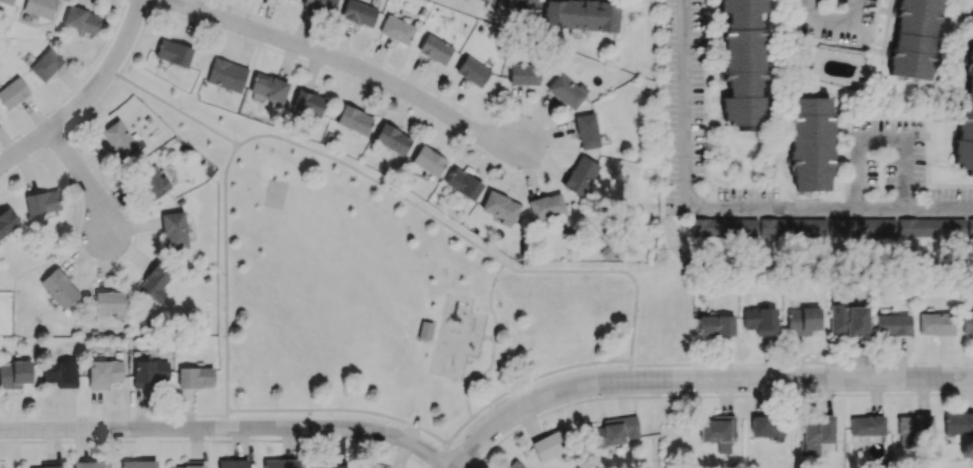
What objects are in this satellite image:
building: (293, 0)
building: (489, 0)
building: (6, 1)
building: (320, 5)
building: (517, 5)
building: (40, 7)
building: (358, 13)
building: (580, 15)
parking lot: (837, 18)
building: (80, 19)
road: (830, 19)
building: (396, 29)
building: (914, 39)
building: (434, 48)
building: (172, 52)
road: (954, 59)
building: (743, 60)
building: (45, 64)
road: (346, 65)
building: (471, 71)
building: (225, 74)
building: (523, 74)
building: (268, 87)
building: (565, 91)
building: (12, 93)
road: (84, 95)
building: (306, 103)
road: (173, 108)
building: (353, 119)
building: (966, 122)
building: (586, 131)
street lamp: (234, 138)
road: (882, 138)
building: (118, 139)
building: (391, 139)
building: (809, 146)
parking lot: (886, 155)
building: (427, 161)
building: (580, 175)
road: (85, 180)
road: (376, 181)
building: (151, 182)
building: (462, 183)
park: (275, 195)
parking lot: (748, 197)
building: (42, 203)
building: (498, 206)
building: (545, 206)
road: (727, 206)
building: (7, 221)
building: (833, 227)
building: (173, 230)
road: (689, 232)
power tower: (669, 252)
street lamp: (217, 253)
road: (609, 270)
road: (651, 271)
road: (225, 277)
building: (154, 282)
park: (387, 282)
building: (58, 287)
road: (490, 300)
building: (109, 302)
road: (453, 310)
building: (759, 320)
building: (801, 320)
building: (846, 320)
building: (966, 322)
building: (934, 323)
building: (891, 324)
building: (715, 325)
building: (426, 331)
road: (491, 338)
road: (428, 358)
road: (678, 364)
building: (149, 372)
building: (59, 373)
building: (103, 373)
road: (545, 373)
building: (14, 374)
road: (723, 375)
building: (194, 377)
road: (477, 377)
road: (701, 384)
road: (711, 394)
road: (357, 410)
road: (113, 415)
road: (227, 420)
building: (958, 423)
building: (866, 425)
building: (766, 426)
building: (914, 427)
road: (228, 429)
parking lot: (409, 431)
building: (613, 431)
building: (718, 432)
building: (816, 434)
road: (217, 439)
building: (549, 444)
road: (405, 446)
road: (438, 454)
building: (232, 463)
building: (282, 463)
building: (89, 464)
building: (137, 464)
building: (514, 465)
building: (184, 466)
building: (326, 466)
building: (43, 467)

